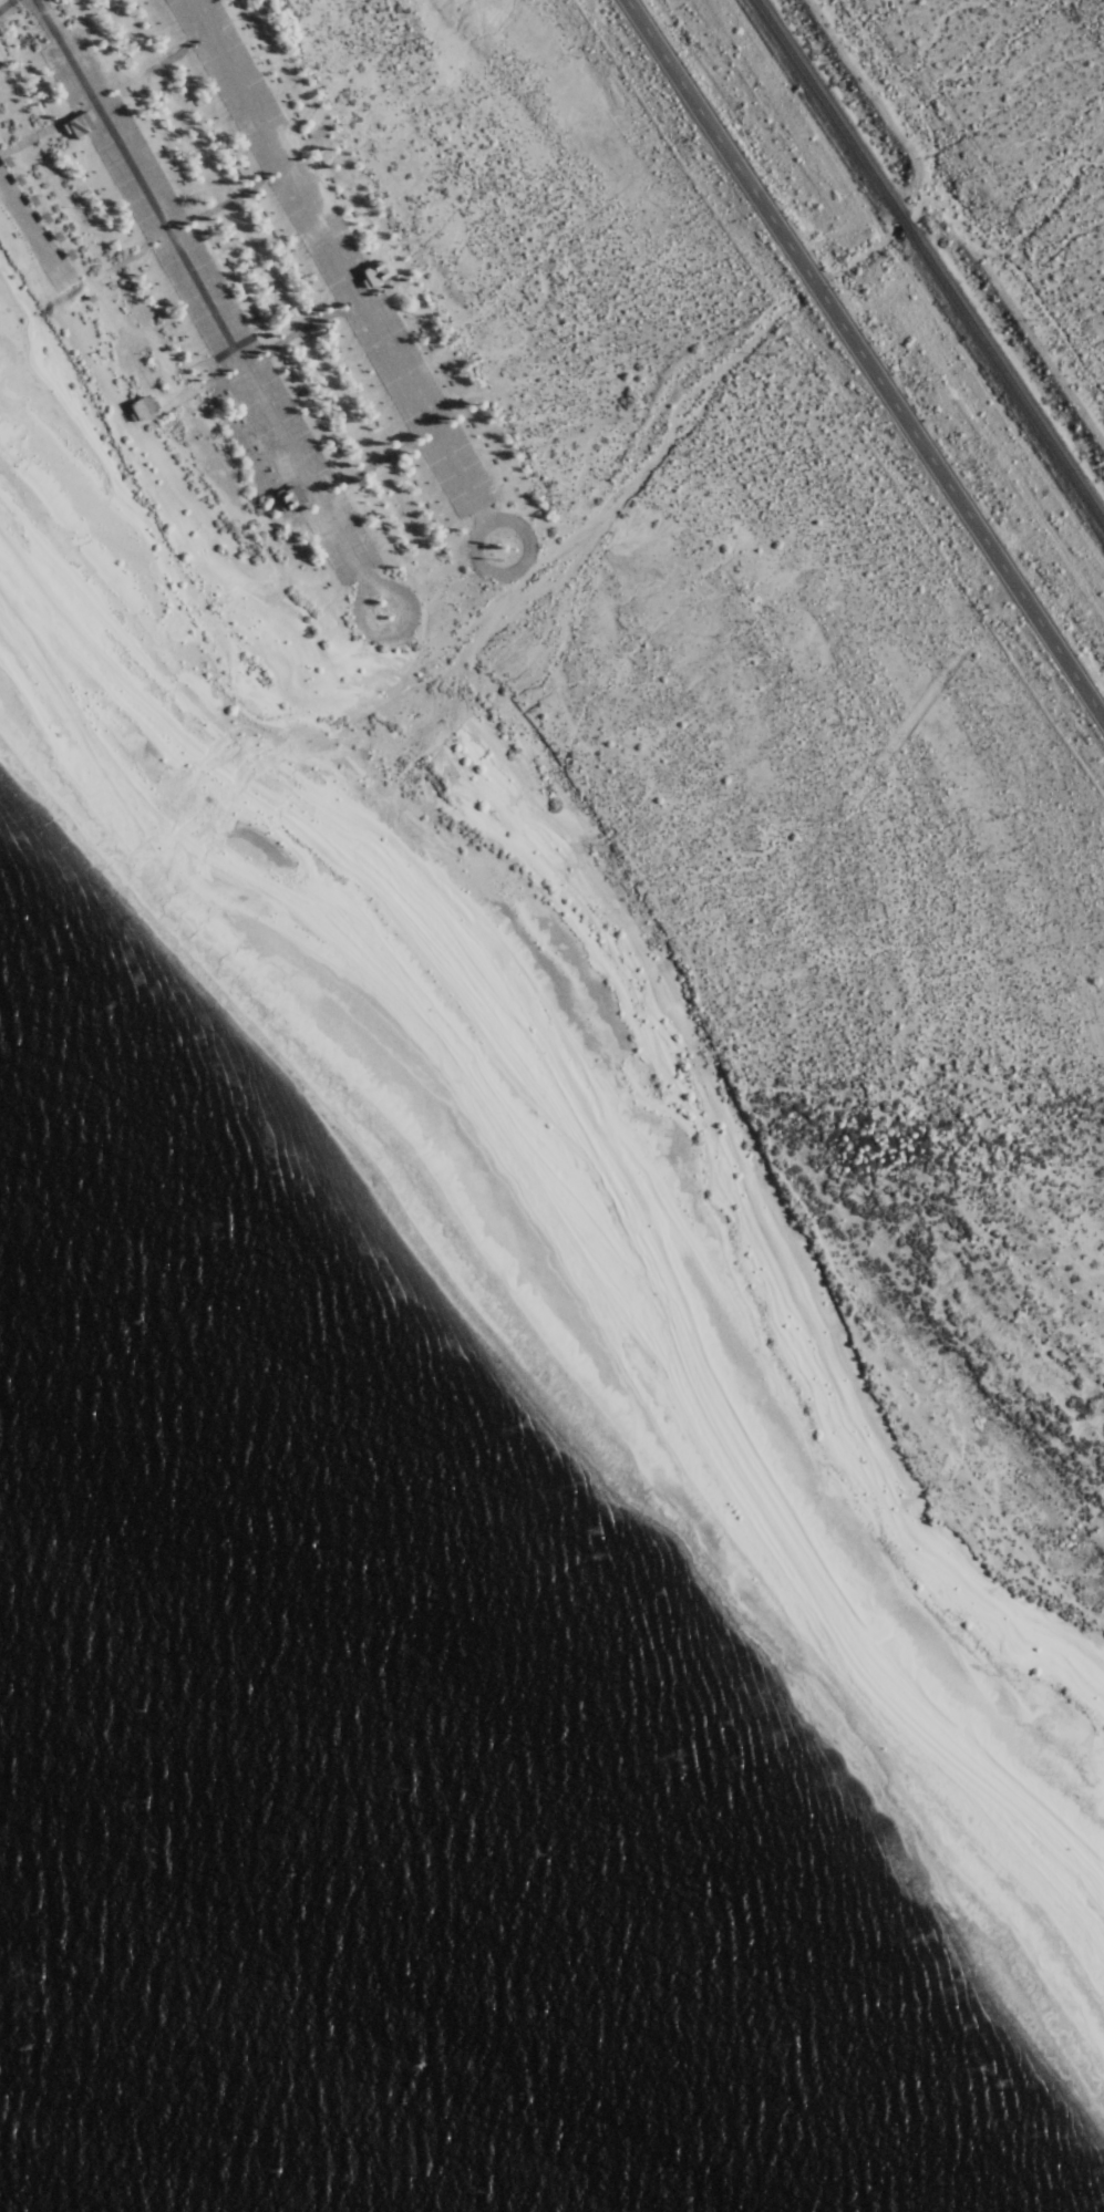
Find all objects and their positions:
road: (3, 2)
railway: (829, 107)
road: (718, 137)
railway: (905, 221)
road: (30, 239)
road: (339, 272)
road: (815, 282)
road: (208, 306)
railway: (1007, 372)
road: (962, 502)

